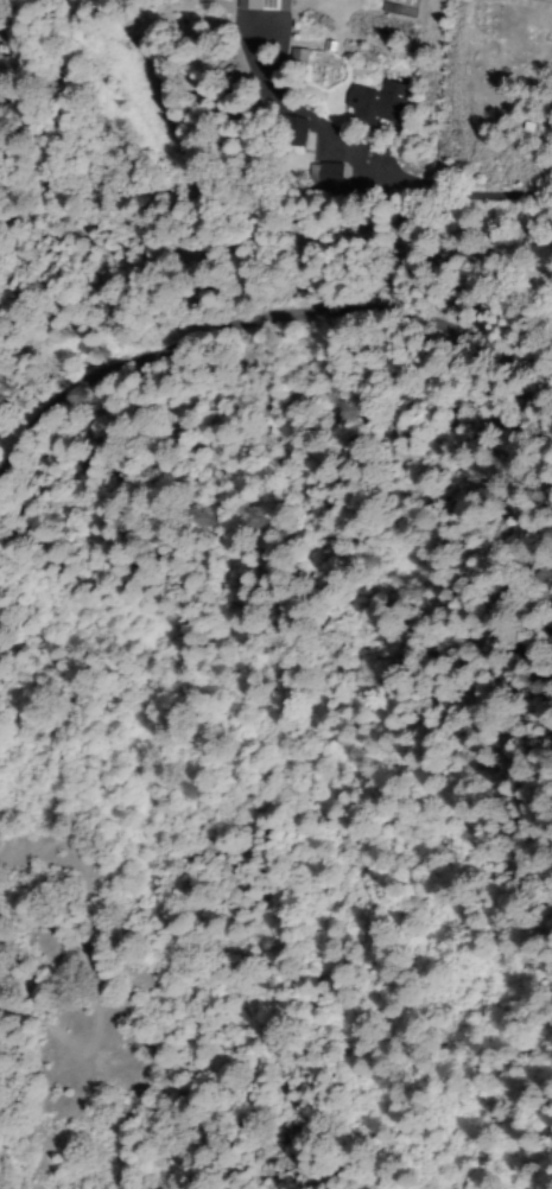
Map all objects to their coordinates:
building: (262, 5)
building: (264, 31)
building: (374, 102)
building: (291, 132)
building: (324, 174)
road: (259, 319)

